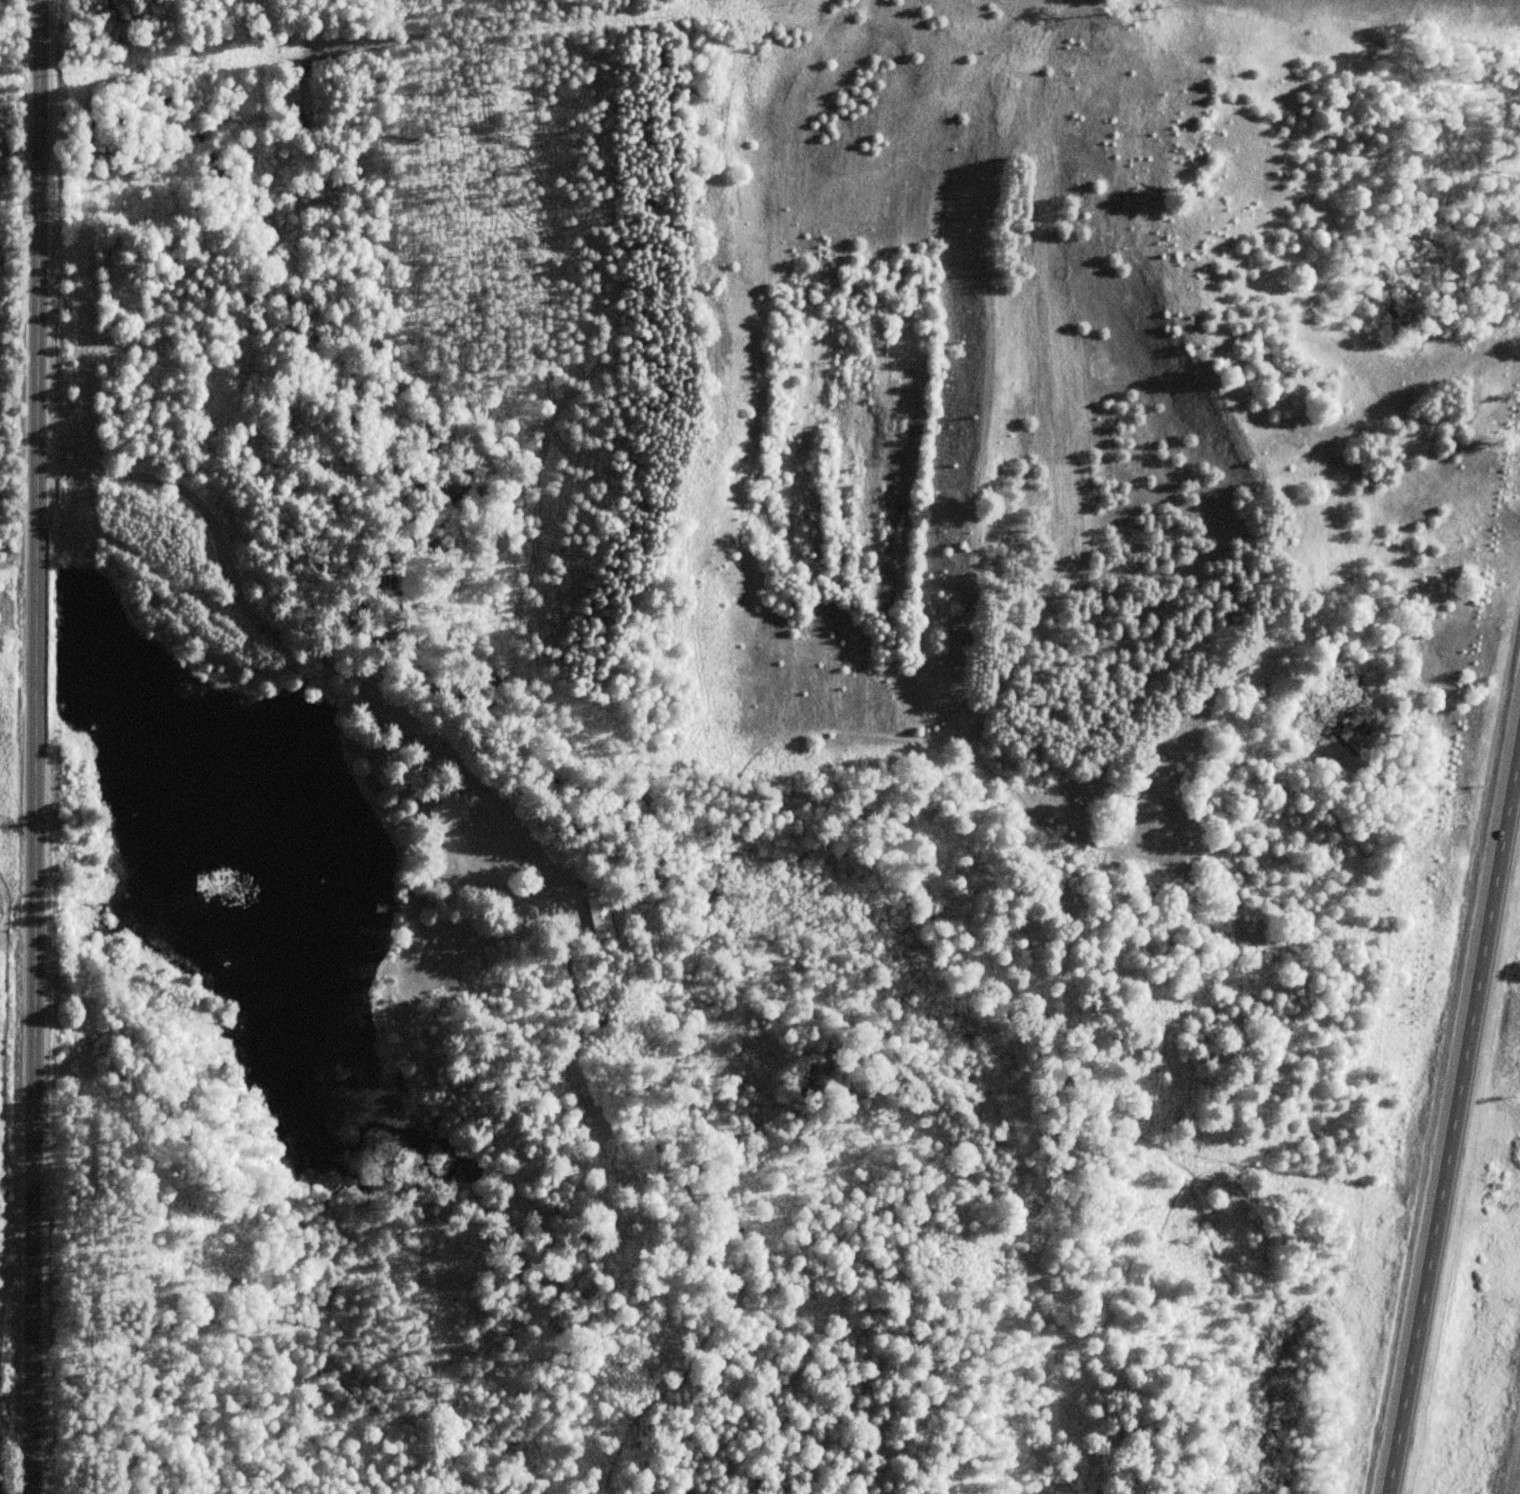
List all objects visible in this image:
road: (36, 747)
building: (446, 810)
building: (599, 916)
road: (1453, 1119)

